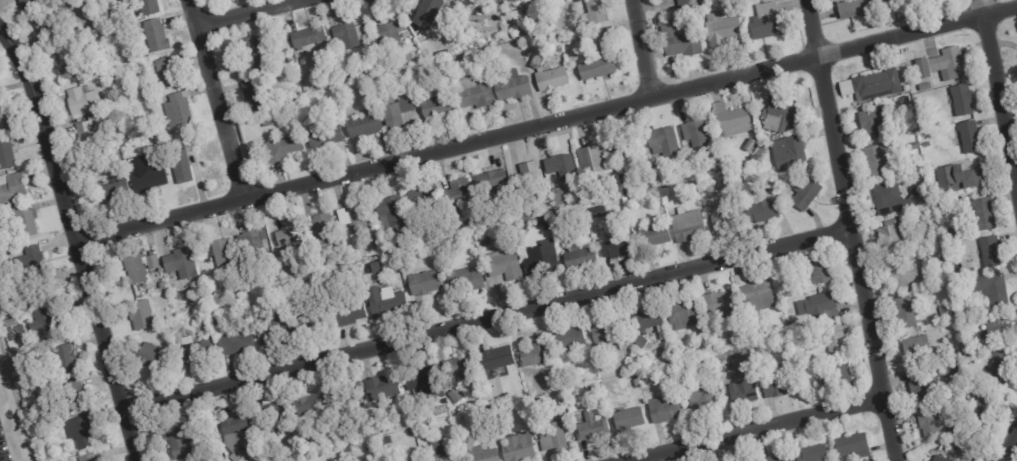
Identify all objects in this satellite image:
building: (749, 1)
building: (30, 4)
building: (684, 4)
building: (146, 8)
building: (856, 8)
road: (250, 13)
building: (428, 13)
building: (591, 14)
building: (888, 19)
building: (47, 23)
building: (660, 23)
building: (765, 23)
road: (812, 29)
building: (719, 31)
building: (112, 33)
building: (603, 36)
building: (154, 37)
building: (345, 37)
building: (388, 37)
building: (306, 39)
building: (679, 42)
building: (282, 43)
road: (641, 48)
building: (253, 59)
building: (536, 61)
building: (63, 63)
building: (284, 63)
building: (942, 64)
building: (108, 65)
building: (381, 65)
building: (597, 69)
building: (440, 71)
building: (164, 75)
building: (550, 80)
road: (1001, 81)
building: (379, 83)
building: (871, 85)
building: (924, 86)
building: (511, 87)
building: (906, 88)
building: (0, 90)
building: (472, 93)
building: (254, 96)
road: (216, 99)
building: (961, 100)
building: (290, 101)
building: (79, 103)
building: (278, 103)
building: (436, 107)
building: (176, 111)
building: (395, 114)
building: (779, 116)
building: (729, 117)
building: (5, 118)
building: (303, 118)
building: (872, 121)
road: (546, 123)
building: (268, 124)
building: (362, 127)
building: (696, 134)
building: (969, 136)
building: (89, 138)
building: (323, 138)
building: (663, 142)
building: (913, 146)
building: (279, 150)
building: (9, 151)
building: (626, 151)
building: (788, 152)
building: (876, 159)
building: (592, 161)
building: (731, 161)
building: (183, 165)
building: (754, 165)
building: (560, 166)
building: (618, 171)
building: (922, 172)
building: (730, 174)
building: (526, 177)
building: (961, 177)
building: (144, 180)
building: (491, 183)
building: (15, 186)
building: (915, 191)
building: (113, 193)
building: (593, 193)
building: (456, 194)
building: (805, 194)
building: (765, 195)
building: (420, 198)
building: (558, 198)
building: (886, 199)
building: (949, 209)
building: (390, 211)
building: (597, 211)
building: (760, 212)
building: (983, 213)
building: (723, 216)
building: (351, 221)
building: (31, 222)
building: (545, 222)
building: (686, 225)
building: (320, 229)
building: (524, 230)
building: (954, 234)
building: (652, 236)
building: (890, 236)
building: (291, 240)
building: (483, 242)
building: (253, 243)
road: (79, 245)
building: (616, 247)
building: (953, 248)
building: (990, 252)
building: (217, 255)
building: (576, 255)
building: (538, 259)
road: (856, 259)
building: (937, 259)
building: (26, 260)
building: (181, 263)
building: (137, 266)
building: (502, 266)
building: (815, 270)
building: (902, 274)
building: (463, 281)
building: (423, 282)
building: (991, 289)
building: (29, 292)
building: (754, 294)
building: (957, 295)
building: (388, 303)
building: (720, 304)
building: (820, 306)
building: (199, 307)
building: (208, 309)
building: (900, 310)
building: (944, 313)
building: (139, 314)
building: (349, 314)
building: (683, 317)
building: (307, 318)
building: (210, 319)
building: (15, 320)
road: (490, 320)
building: (646, 321)
building: (49, 323)
building: (949, 327)
building: (268, 328)
building: (943, 329)
building: (995, 331)
building: (605, 332)
building: (760, 333)
building: (750, 334)
building: (568, 338)
building: (834, 340)
building: (640, 342)
building: (704, 342)
building: (234, 343)
building: (915, 345)
building: (756, 348)
building: (192, 350)
building: (532, 353)
building: (150, 356)
building: (68, 357)
building: (969, 357)
building: (495, 358)
building: (720, 367)
building: (458, 368)
building: (997, 368)
building: (799, 374)
building: (840, 374)
building: (634, 376)
building: (930, 381)
building: (956, 381)
building: (425, 382)
building: (635, 383)
building: (777, 383)
building: (594, 387)
building: (950, 390)
building: (382, 391)
building: (739, 392)
building: (79, 394)
building: (454, 396)
building: (700, 399)
building: (307, 405)
building: (980, 410)
building: (662, 411)
building: (269, 414)
building: (627, 418)
building: (929, 420)
building: (528, 426)
building: (303, 427)
building: (380, 428)
building: (590, 428)
building: (85, 430)
road: (758, 430)
building: (548, 433)
building: (234, 435)
road: (1000, 437)
building: (175, 440)
building: (385, 441)
building: (852, 446)
building: (475, 447)
building: (517, 448)
building: (217, 451)
building: (440, 452)
building: (813, 454)
building: (93, 457)
building: (776, 458)
building: (939, 459)
building: (418, 460)

